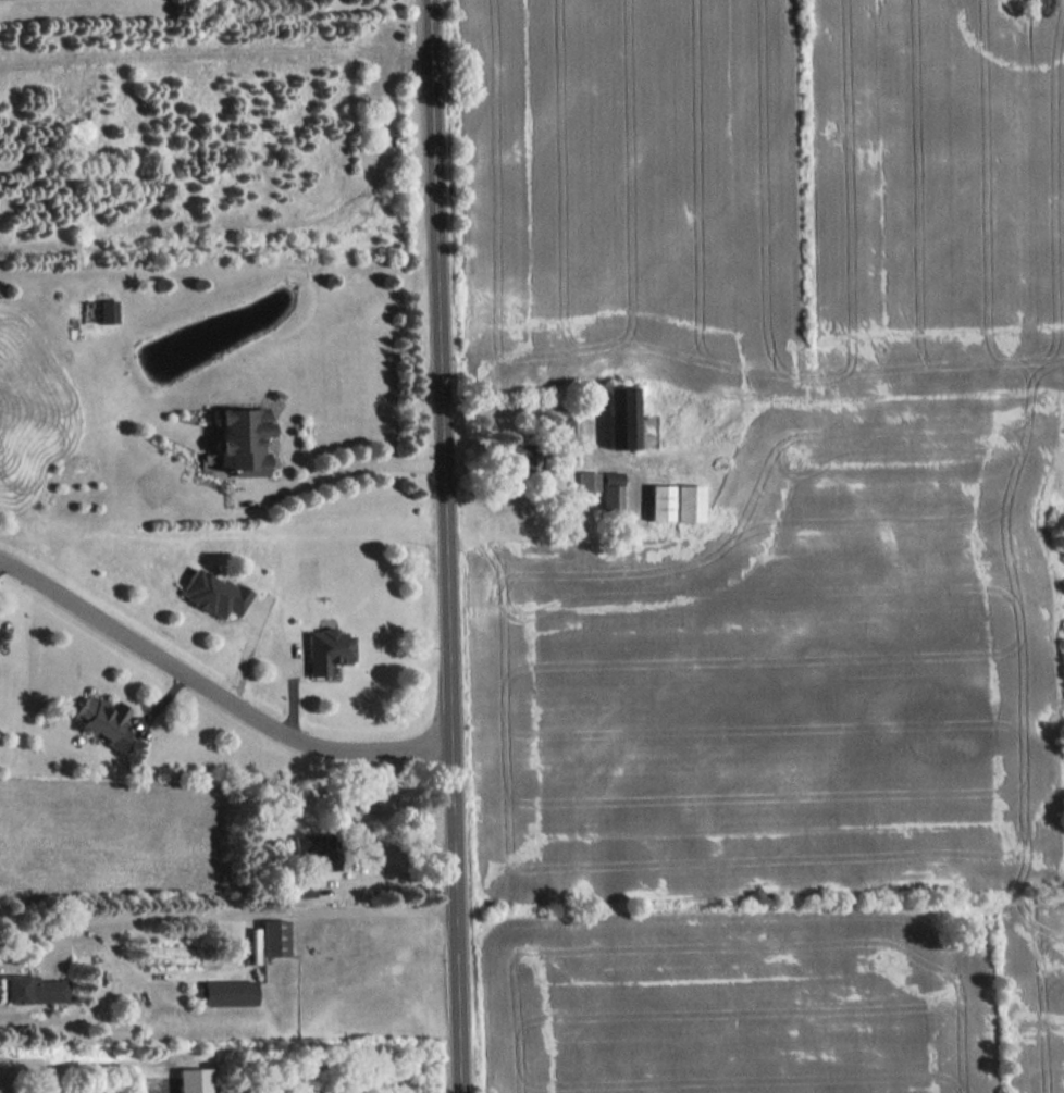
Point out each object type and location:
building: (107, 310)
road: (532, 403)
building: (620, 417)
building: (566, 426)
building: (240, 439)
building: (516, 456)
road: (346, 469)
building: (586, 481)
building: (610, 489)
building: (659, 501)
building: (686, 502)
road: (443, 546)
building: (212, 593)
building: (325, 649)
road: (213, 692)
building: (102, 719)
building: (316, 847)
road: (391, 881)
building: (305, 886)
road: (252, 914)
building: (273, 936)
building: (33, 989)
building: (228, 992)
building: (193, 1079)

